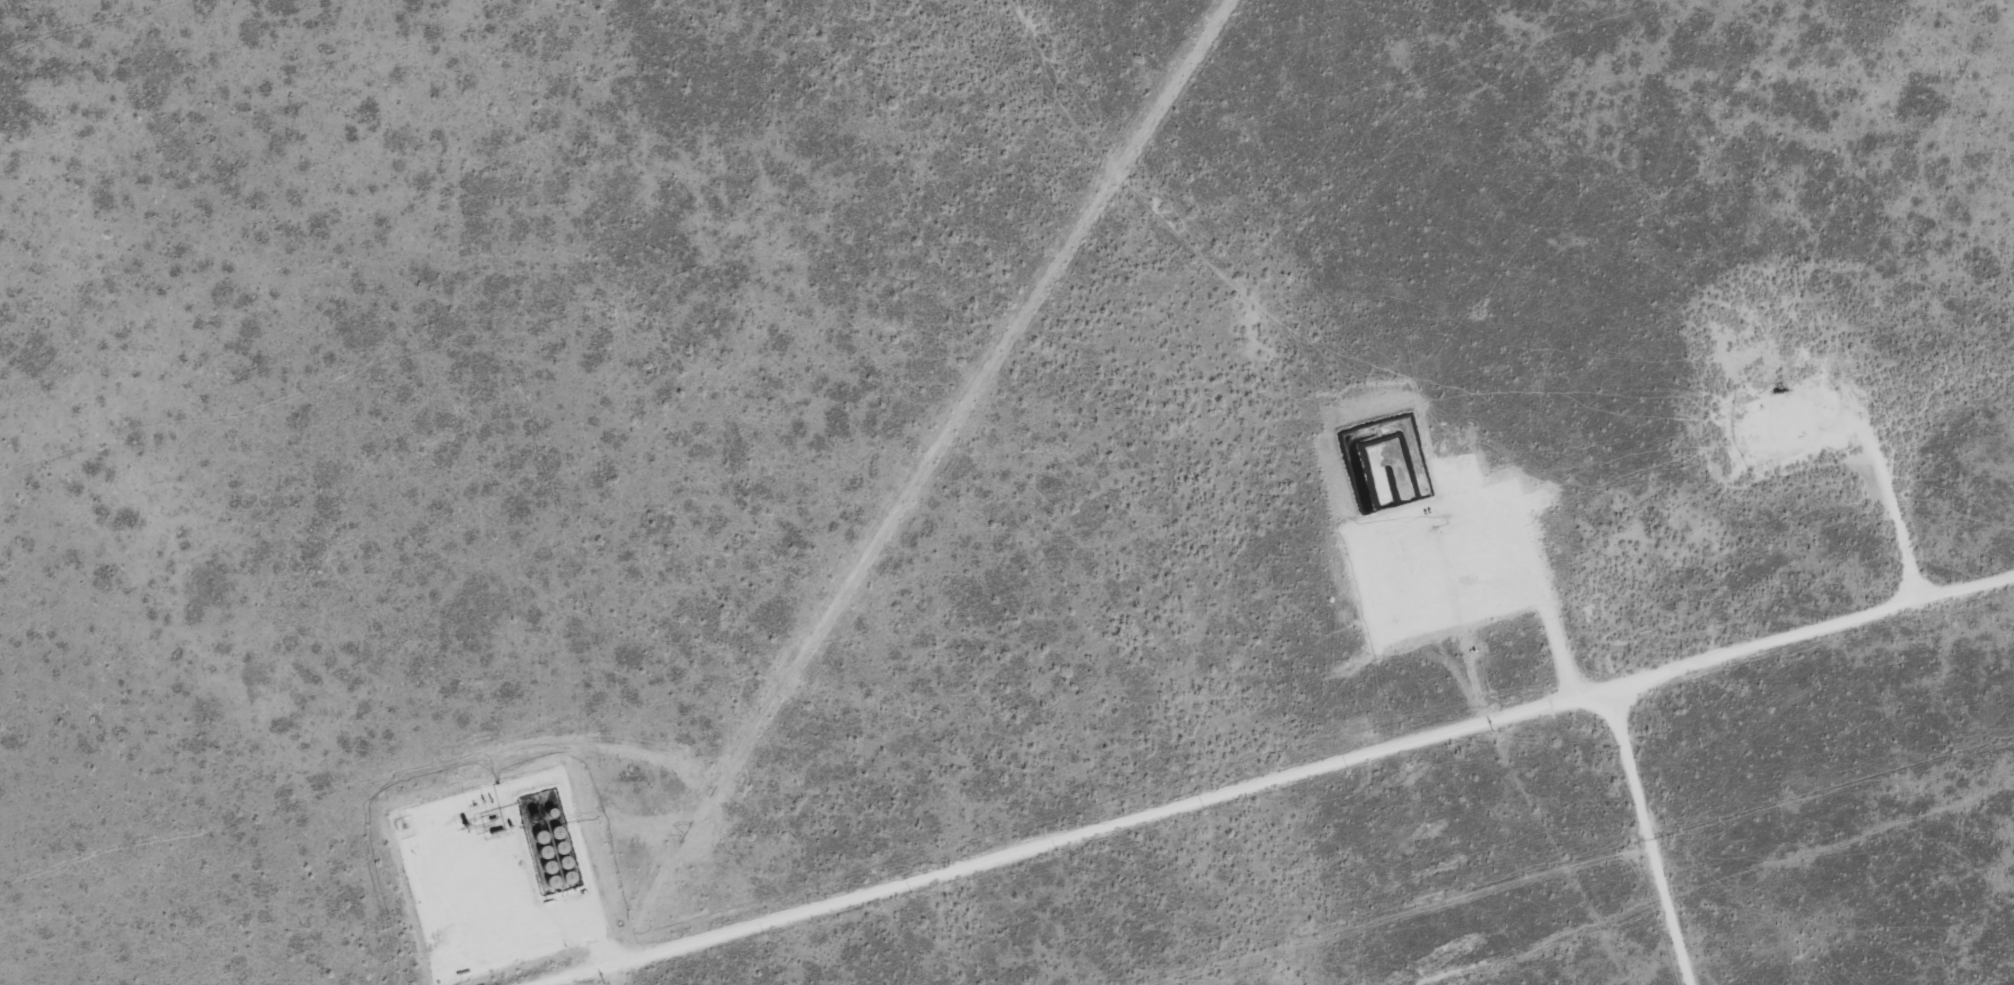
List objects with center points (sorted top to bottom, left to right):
road: (1276, 778)
road: (1627, 839)

